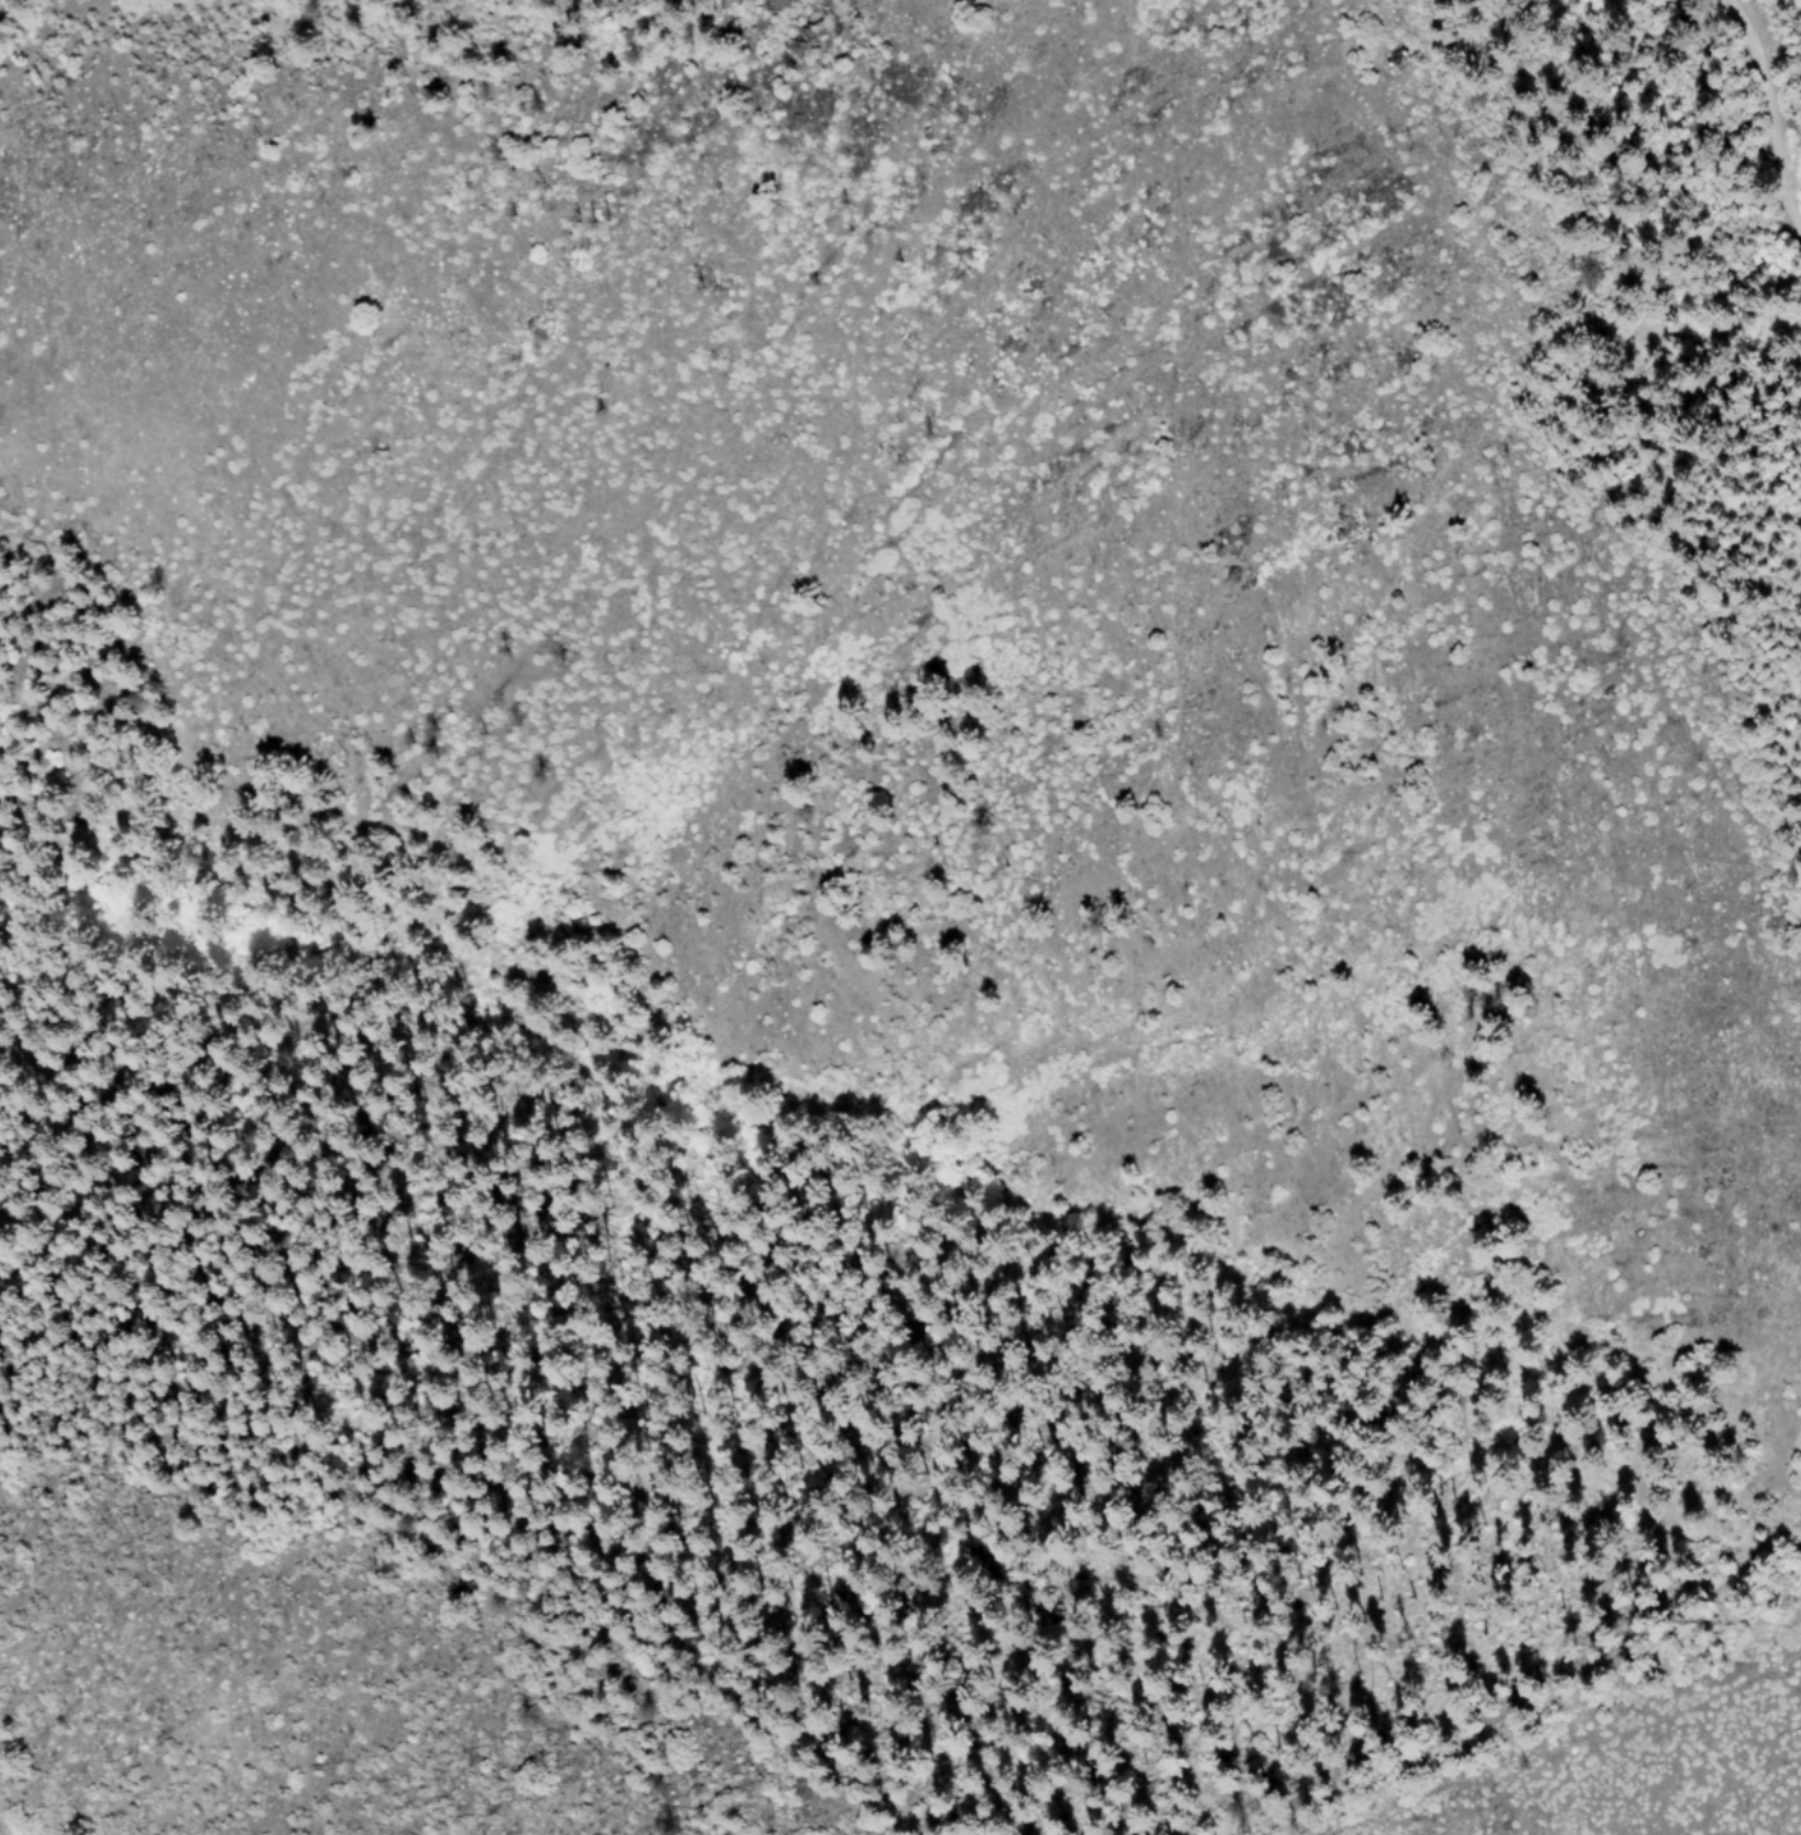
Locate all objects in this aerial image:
road: (1751, 99)

